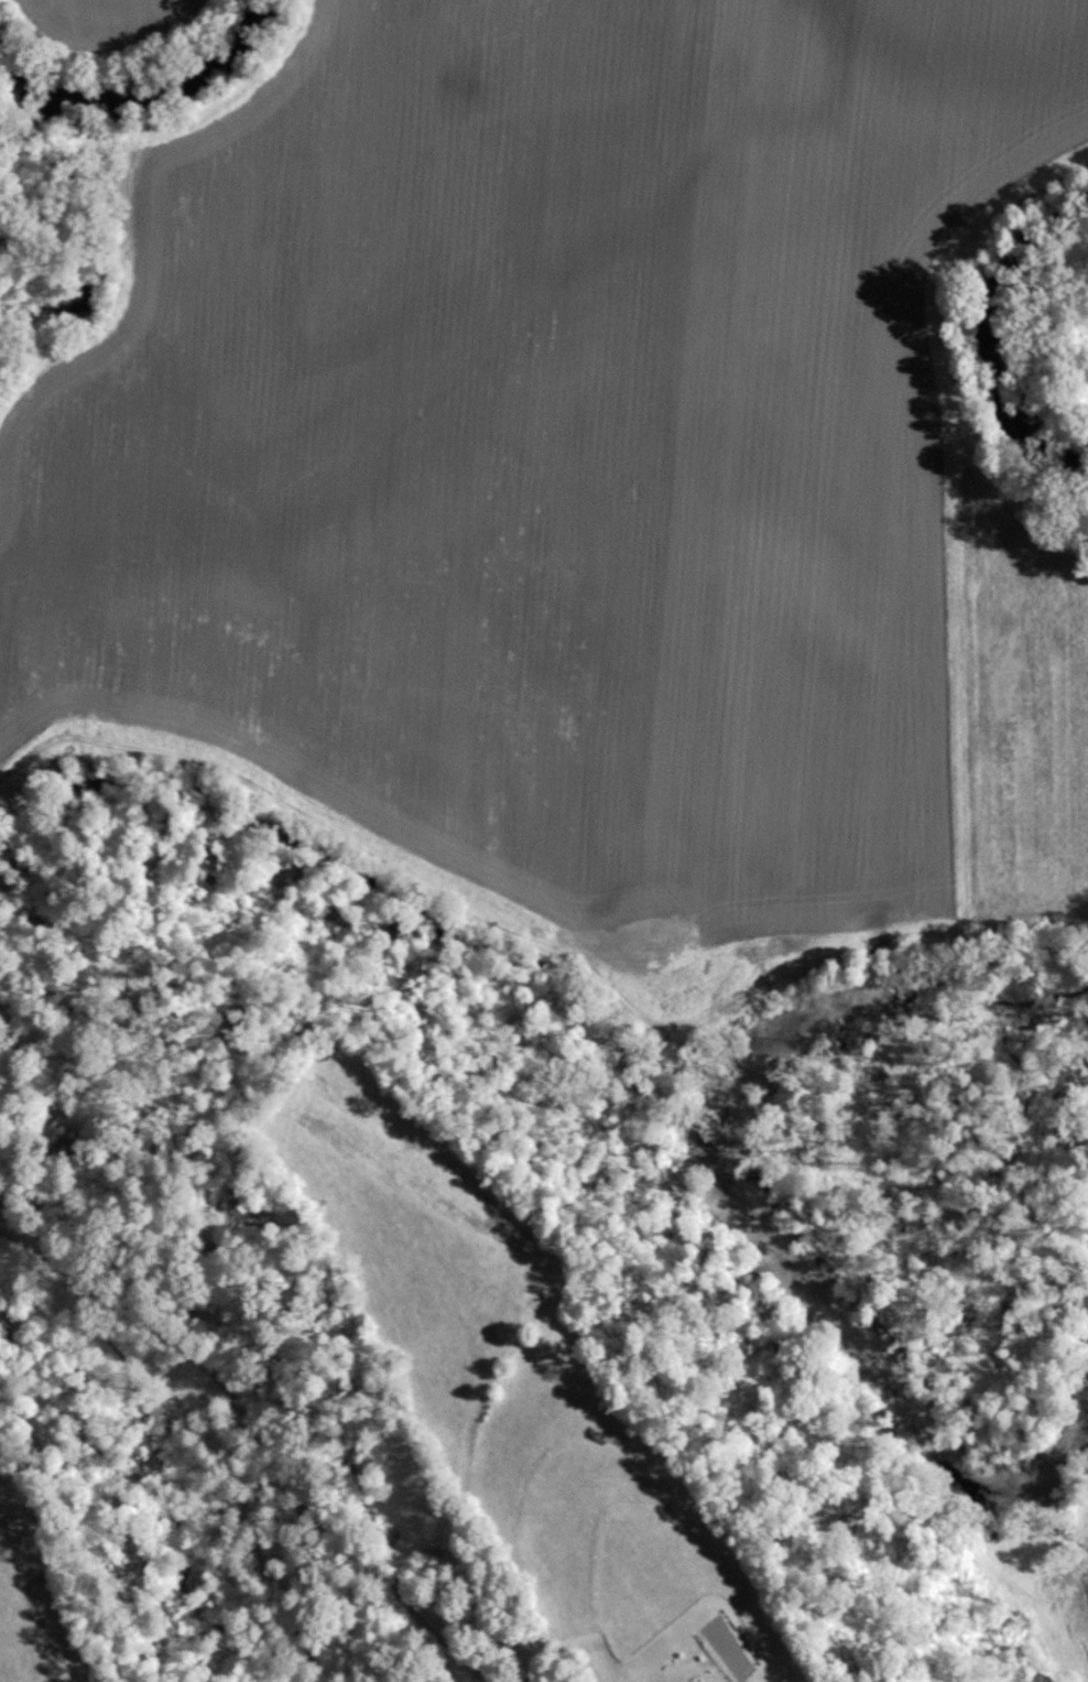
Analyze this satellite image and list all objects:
river: (140, 101)
river: (1020, 330)
road: (258, 1440)

